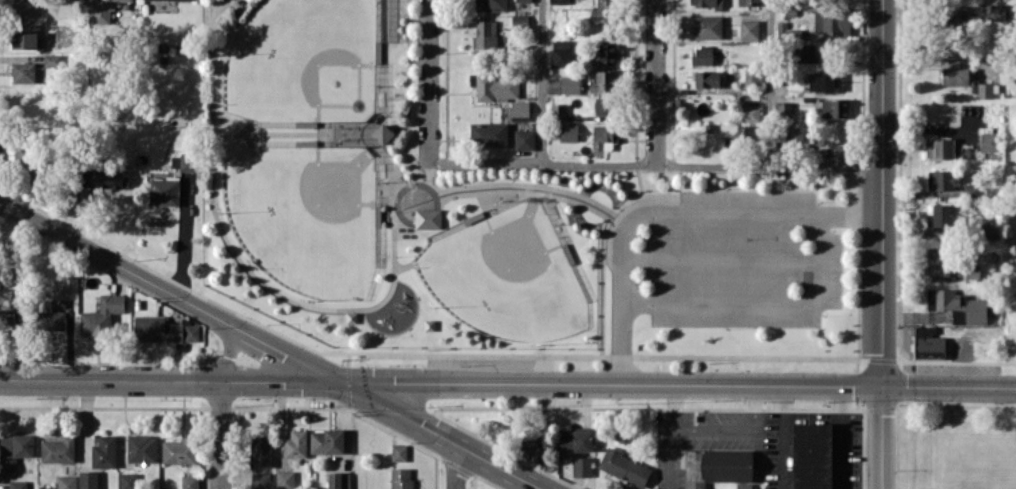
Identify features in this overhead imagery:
building: (191, 0)
building: (523, 0)
building: (558, 1)
building: (749, 2)
building: (708, 3)
building: (490, 5)
building: (21, 7)
building: (103, 11)
building: (603, 11)
building: (997, 12)
building: (387, 20)
building: (832, 22)
building: (708, 26)
building: (749, 28)
building: (486, 34)
building: (24, 39)
building: (561, 52)
building: (806, 52)
building: (607, 53)
building: (702, 55)
building: (23, 72)
building: (706, 78)
building: (752, 78)
building: (966, 80)
road: (427, 81)
road: (541, 81)
building: (603, 81)
road: (654, 82)
road: (768, 82)
building: (822, 82)
building: (570, 84)
building: (494, 86)
building: (603, 105)
building: (835, 108)
building: (783, 109)
building: (519, 110)
building: (558, 112)
building: (750, 113)
building: (746, 131)
building: (568, 132)
building: (383, 133)
building: (488, 133)
building: (800, 135)
building: (603, 137)
building: (988, 138)
building: (524, 139)
building: (939, 148)
building: (183, 161)
road: (654, 163)
building: (114, 179)
building: (943, 179)
building: (972, 189)
building: (164, 191)
road: (671, 212)
park: (483, 214)
building: (944, 215)
building: (428, 218)
building: (987, 230)
road: (182, 241)
road: (881, 244)
building: (938, 261)
road: (761, 301)
building: (958, 304)
building: (101, 316)
building: (7, 318)
building: (51, 320)
building: (162, 329)
building: (928, 342)
road: (271, 345)
road: (168, 380)
traffic signals: (338, 381)
road: (677, 384)
road: (679, 426)
road: (220, 435)
road: (779, 436)
road: (841, 437)
building: (575, 440)
building: (326, 441)
building: (295, 444)
building: (15, 447)
building: (141, 448)
building: (58, 449)
building: (179, 450)
building: (532, 450)
building: (104, 451)
building: (260, 452)
building: (399, 452)
building: (811, 455)
road: (454, 466)
building: (582, 466)
building: (717, 466)
building: (625, 467)
building: (401, 478)
building: (88, 479)
building: (285, 479)
building: (128, 480)
building: (260, 480)
building: (338, 480)
building: (66, 482)
building: (189, 482)
building: (17, 484)
building: (743, 486)

